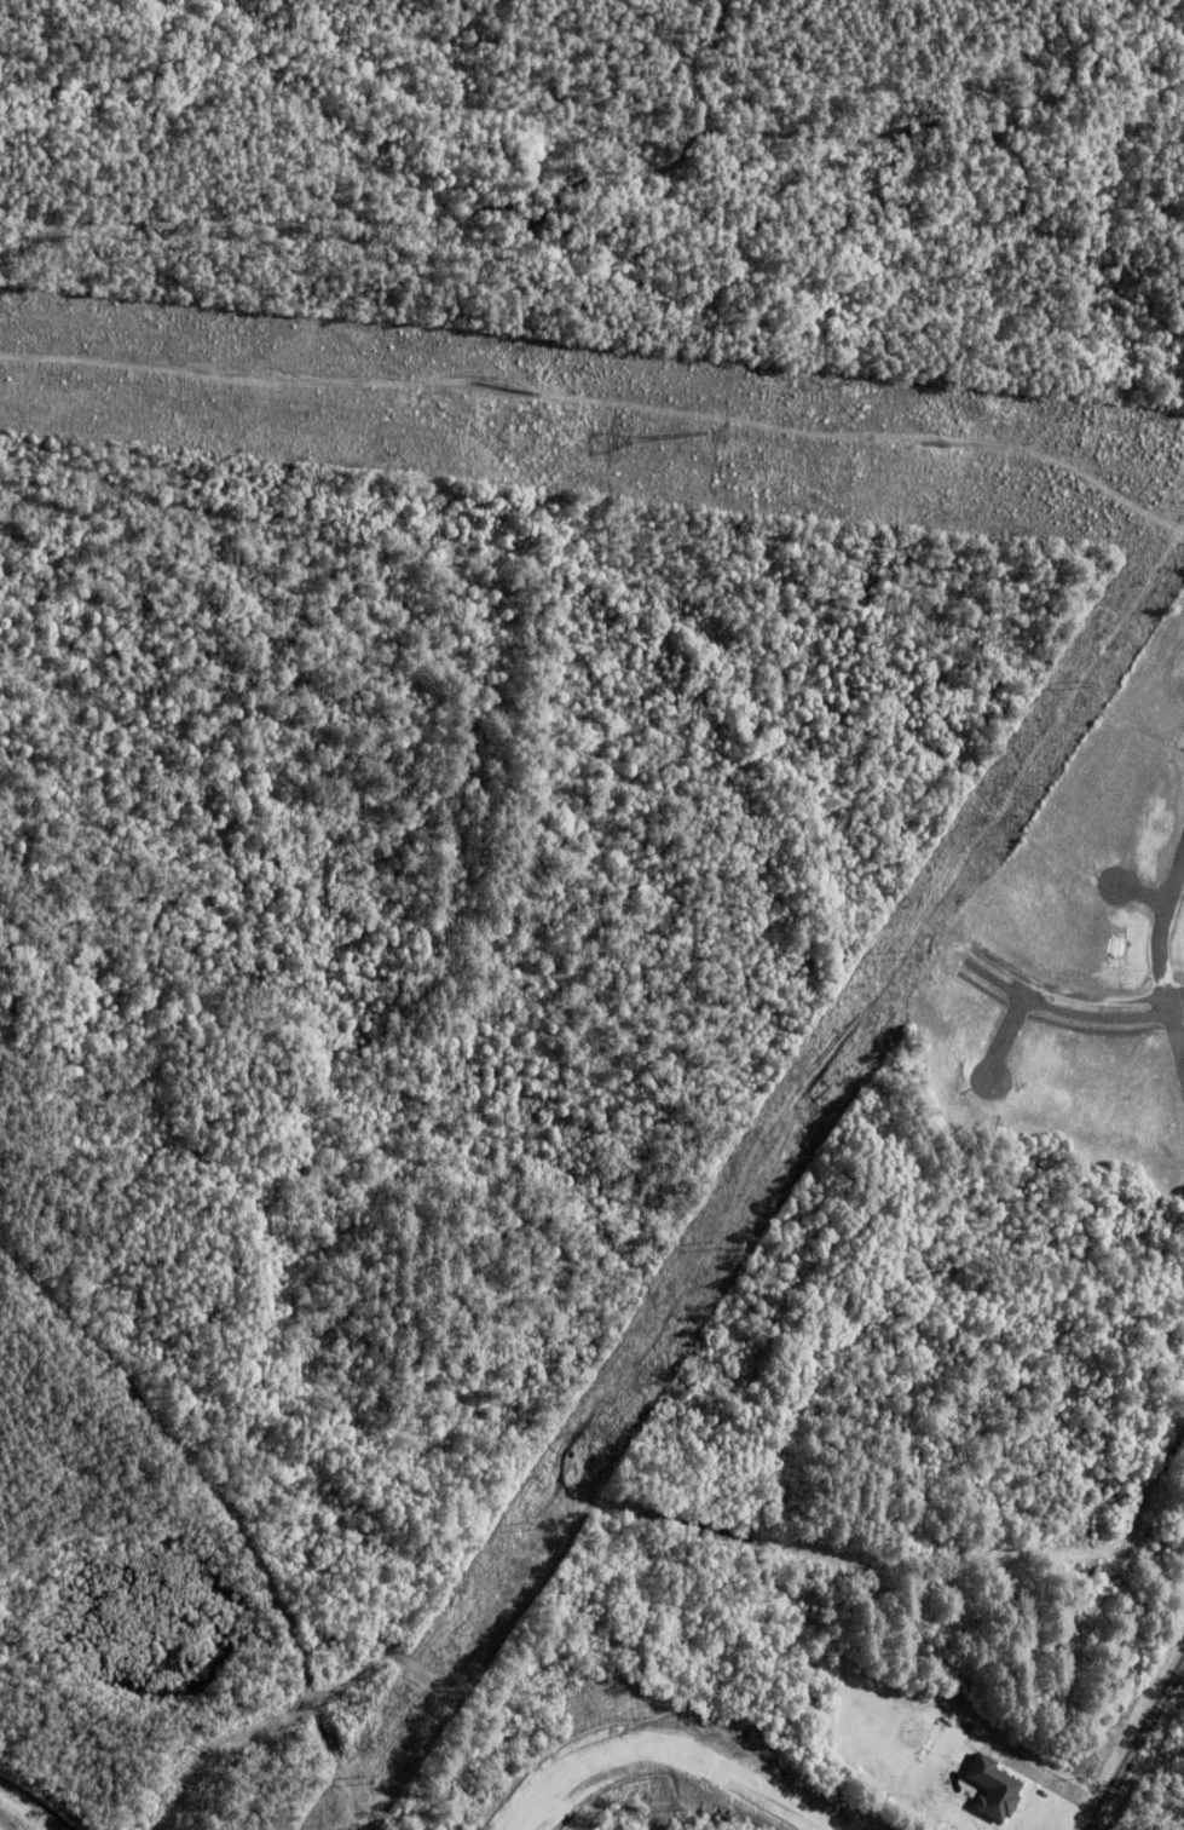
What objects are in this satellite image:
power tower: (698, 432)
road: (224, 1508)
road: (1137, 1745)
road: (1160, 1761)
building: (994, 1791)

